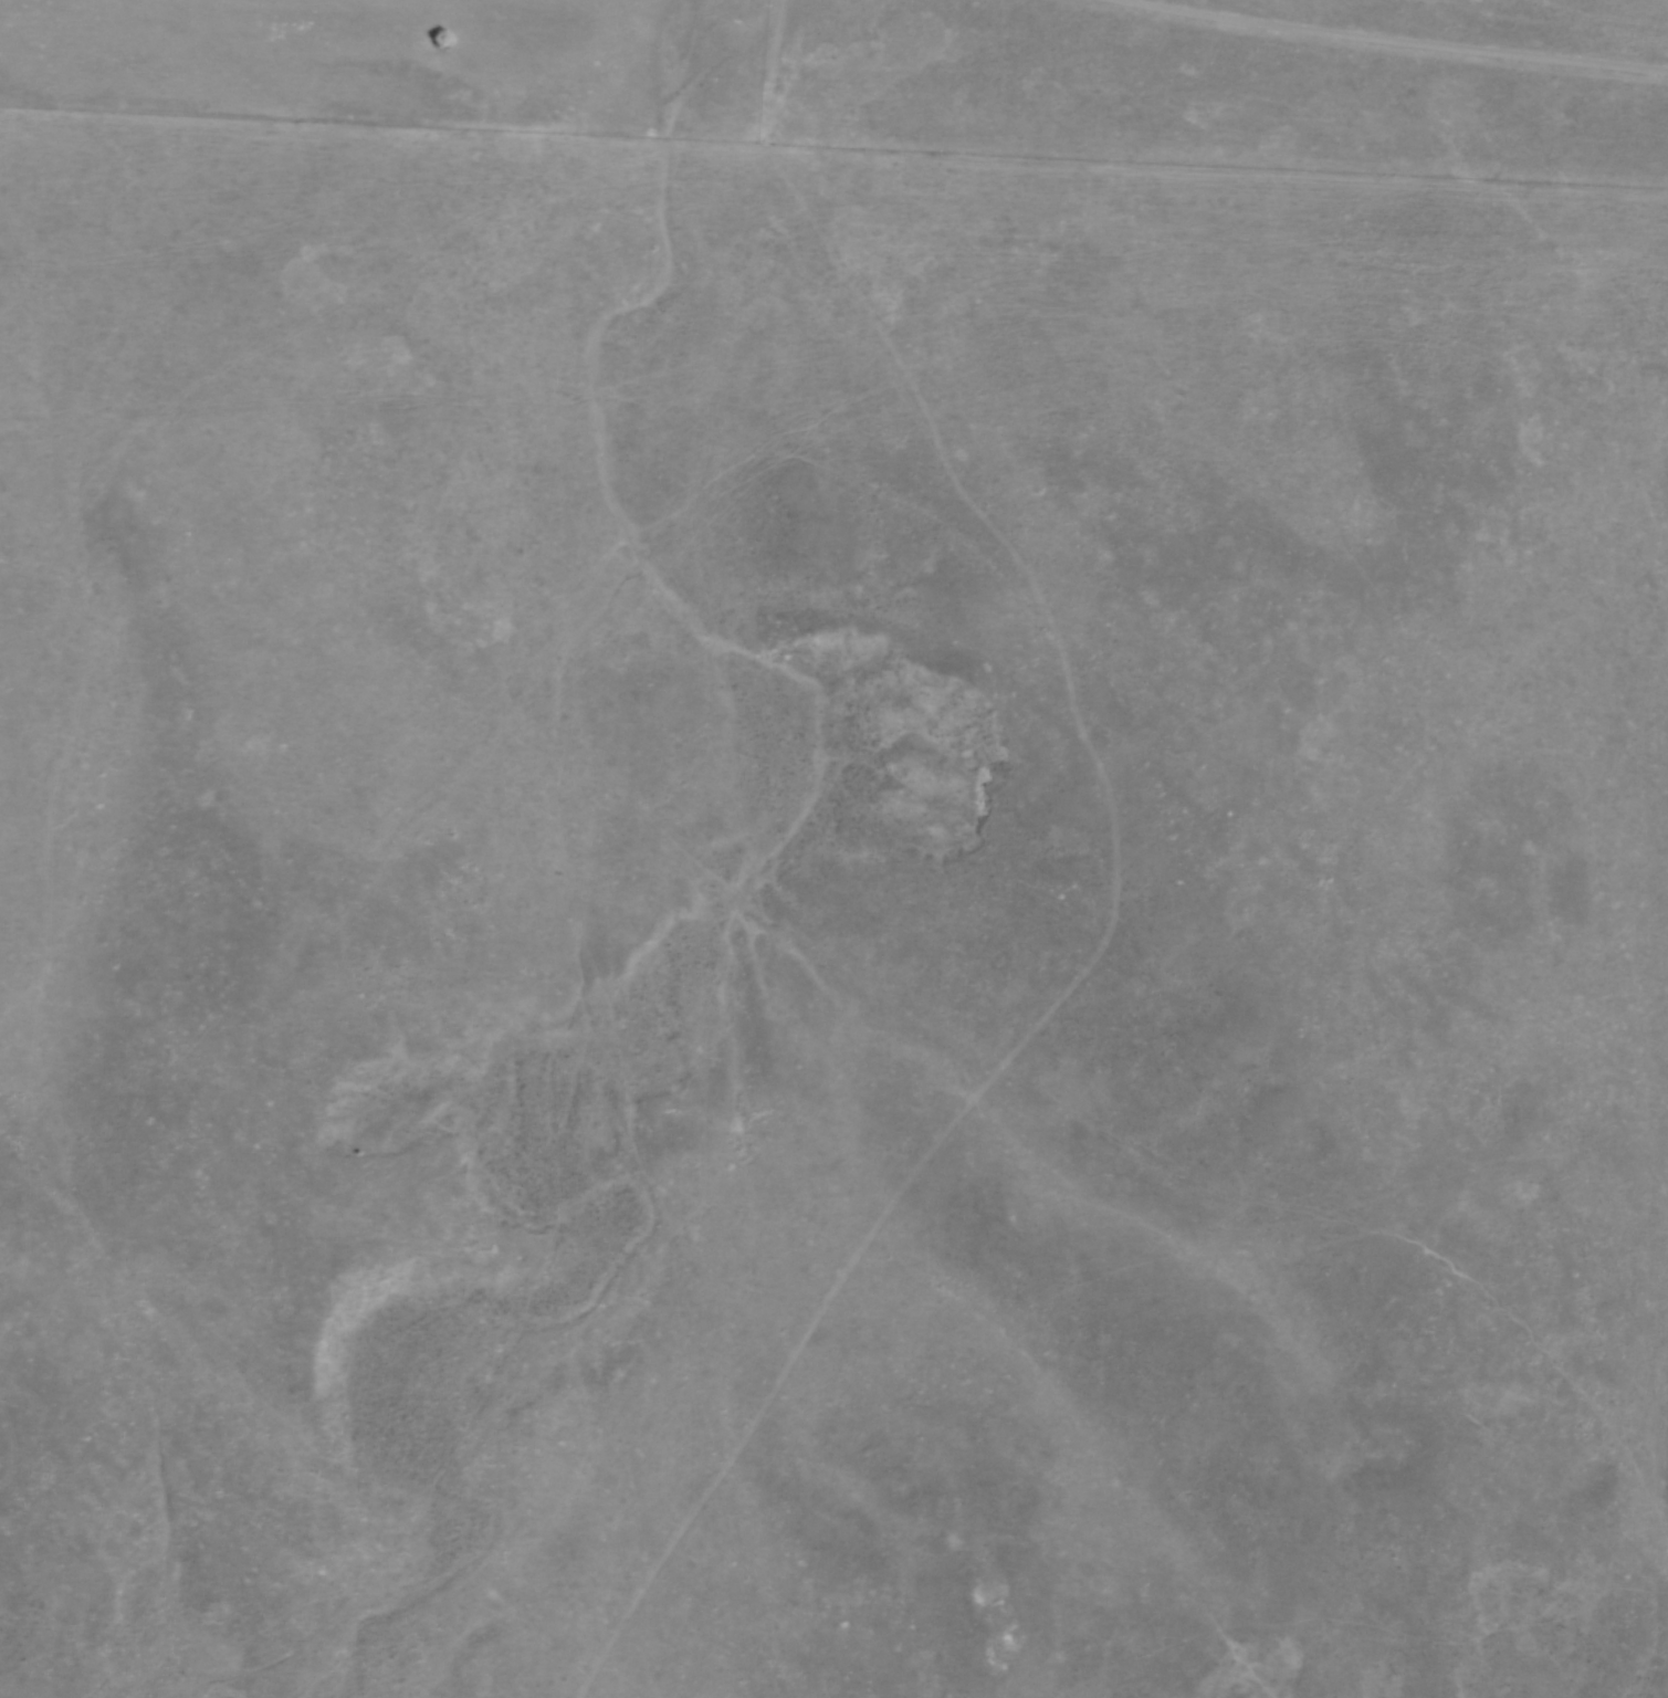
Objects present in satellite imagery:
road: (1401, 38)

